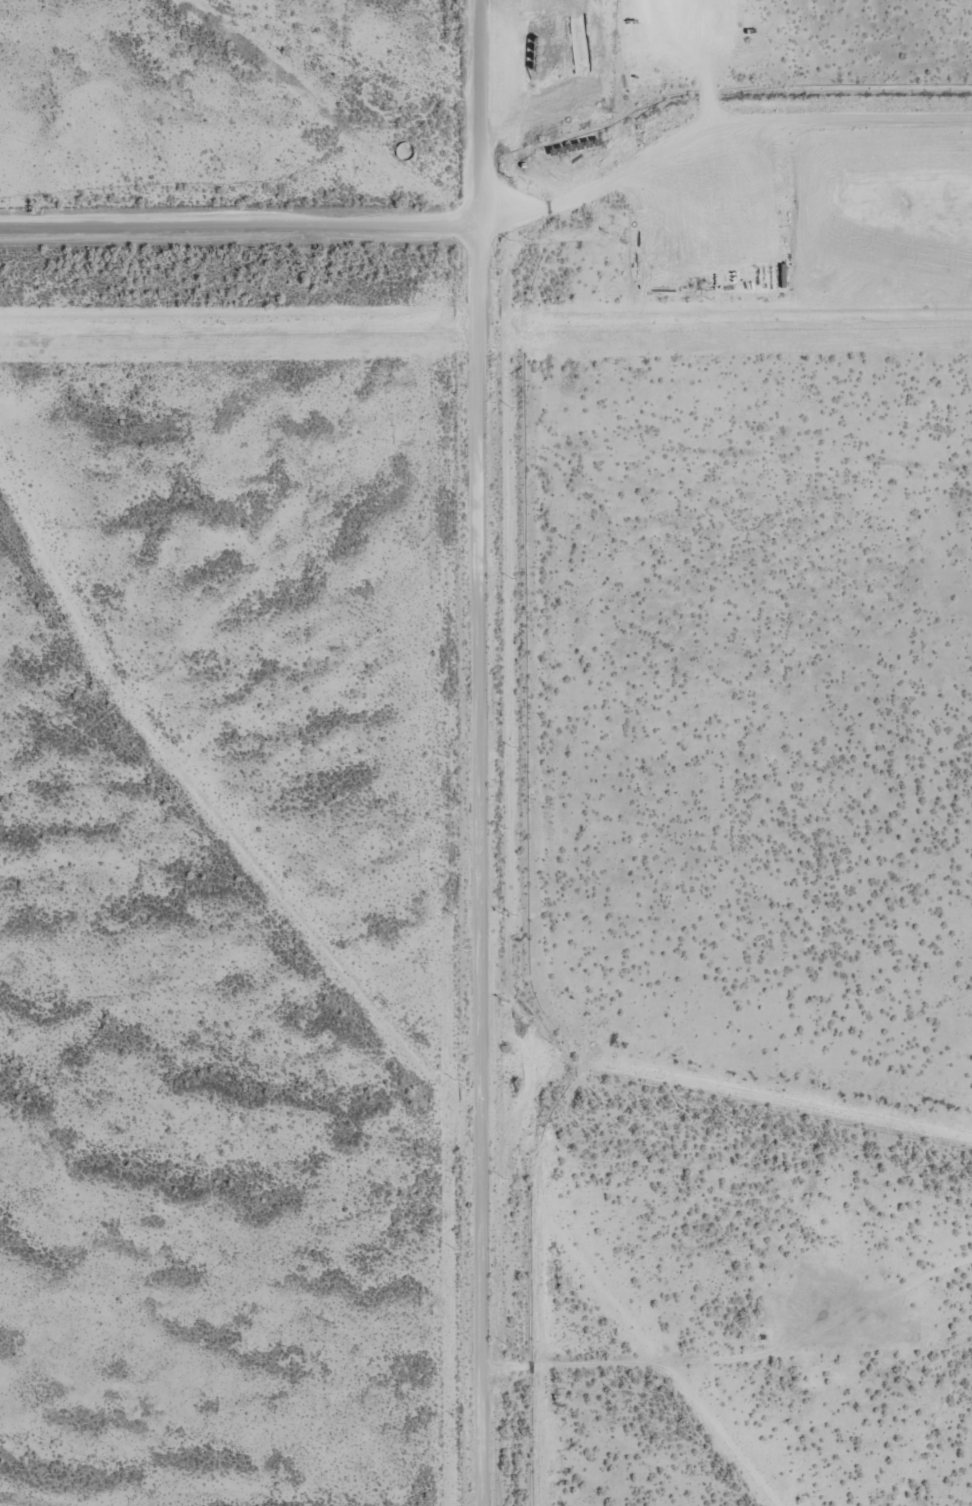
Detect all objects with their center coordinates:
road: (463, 92)
road: (704, 94)
road: (228, 222)
road: (455, 844)

